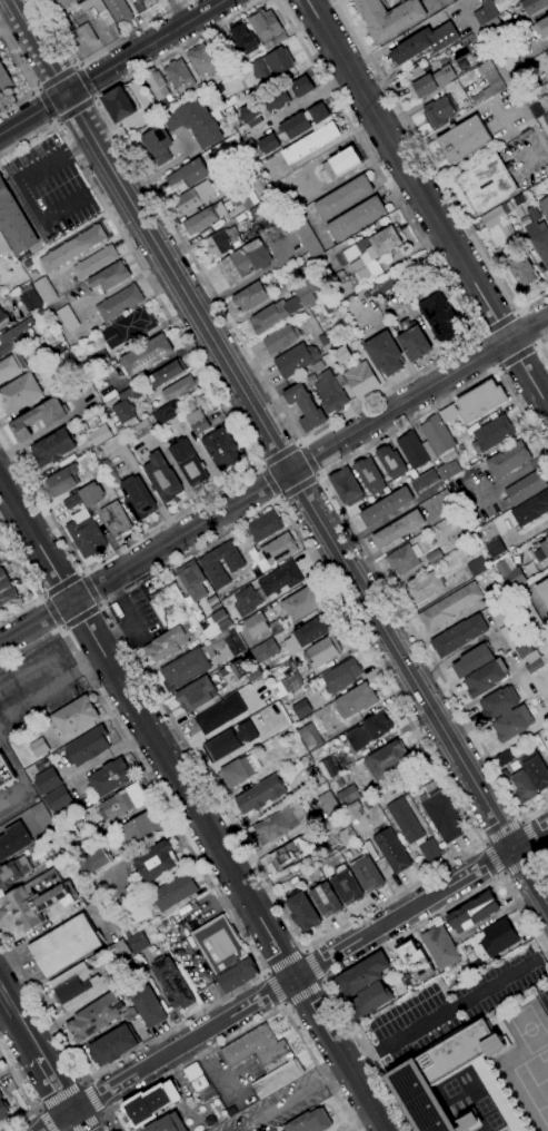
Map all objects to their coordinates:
building: (82, 0)
building: (83, 0)
building: (520, 0)
road: (464, 1)
building: (445, 2)
building: (58, 4)
building: (92, 6)
building: (143, 6)
building: (531, 7)
building: (119, 11)
road: (177, 12)
building: (485, 12)
building: (388, 18)
building: (263, 24)
building: (541, 28)
building: (87, 35)
building: (243, 38)
building: (280, 38)
road: (393, 42)
building: (425, 43)
road: (147, 47)
road: (38, 48)
road: (99, 52)
building: (546, 53)
building: (507, 57)
building: (201, 60)
road: (74, 65)
building: (272, 65)
building: (416, 73)
road: (28, 75)
building: (179, 75)
road: (505, 77)
road: (56, 79)
building: (4, 80)
building: (434, 81)
road: (83, 82)
building: (488, 82)
building: (157, 86)
road: (36, 89)
road: (323, 90)
building: (287, 95)
traffic signals: (67, 96)
road: (94, 98)
building: (177, 102)
road: (47, 104)
building: (122, 107)
road: (74, 110)
building: (439, 111)
building: (535, 111)
road: (32, 114)
building: (319, 114)
building: (250, 115)
road: (461, 116)
building: (546, 118)
road: (54, 120)
road: (270, 120)
building: (196, 122)
building: (293, 128)
building: (464, 139)
building: (311, 144)
building: (158, 145)
building: (269, 145)
road: (78, 147)
road: (534, 154)
flagpole: (356, 156)
building: (339, 164)
road: (169, 168)
road: (435, 169)
building: (189, 174)
building: (250, 175)
building: (469, 184)
building: (259, 188)
building: (247, 196)
building: (197, 197)
building: (343, 197)
road: (29, 201)
road: (427, 203)
building: (545, 206)
building: (507, 208)
building: (262, 215)
building: (206, 217)
building: (494, 218)
building: (356, 219)
building: (14, 224)
building: (509, 234)
building: (306, 235)
building: (221, 243)
building: (540, 243)
building: (3, 245)
building: (72, 248)
building: (365, 258)
building: (96, 262)
building: (245, 263)
building: (521, 271)
building: (309, 276)
building: (109, 277)
building: (439, 285)
building: (385, 287)
building: (44, 289)
building: (252, 296)
building: (29, 298)
building: (119, 303)
building: (330, 304)
road: (516, 313)
building: (2, 315)
building: (275, 315)
building: (68, 318)
building: (440, 318)
road: (496, 325)
flagpole: (171, 327)
building: (128, 328)
road: (475, 336)
building: (14, 337)
building: (281, 338)
building: (414, 341)
road: (535, 345)
road: (538, 348)
building: (385, 354)
road: (515, 354)
building: (146, 355)
building: (342, 355)
building: (41, 357)
building: (100, 358)
building: (296, 360)
building: (10, 366)
building: (317, 366)
road: (496, 366)
building: (167, 373)
building: (360, 378)
building: (179, 389)
building: (329, 391)
building: (19, 393)
building: (480, 401)
building: (124, 406)
building: (305, 407)
building: (166, 413)
road: (521, 413)
building: (448, 414)
building: (39, 419)
building: (198, 422)
road: (407, 422)
road: (232, 423)
building: (141, 430)
building: (487, 433)
building: (99, 435)
building: (436, 437)
road: (301, 441)
road: (298, 444)
building: (53, 448)
building: (221, 449)
building: (412, 450)
road: (279, 455)
building: (508, 460)
road: (306, 461)
building: (391, 462)
building: (189, 463)
road: (259, 466)
building: (107, 470)
building: (448, 470)
road: (289, 471)
road: (317, 475)
building: (369, 475)
building: (162, 479)
road: (273, 481)
building: (425, 481)
road: (269, 482)
building: (59, 483)
building: (346, 486)
road: (297, 488)
building: (524, 489)
building: (86, 496)
building: (137, 499)
road: (277, 499)
building: (444, 499)
building: (387, 505)
building: (531, 510)
building: (116, 520)
building: (263, 525)
building: (398, 529)
building: (87, 538)
building: (243, 545)
building: (495, 548)
building: (272, 551)
building: (539, 551)
building: (432, 557)
building: (403, 559)
building: (477, 567)
building: (212, 570)
road: (81, 572)
building: (509, 573)
building: (280, 580)
road: (30, 583)
road: (61, 584)
building: (192, 587)
building: (424, 587)
building: (6, 589)
road: (88, 589)
building: (498, 591)
building: (544, 591)
road: (41, 597)
building: (247, 601)
building: (213, 603)
building: (301, 603)
road: (99, 604)
building: (170, 607)
building: (449, 607)
road: (52, 611)
building: (528, 612)
road: (78, 616)
building: (193, 622)
building: (217, 624)
building: (256, 624)
building: (275, 627)
road: (60, 628)
building: (306, 635)
building: (512, 635)
building: (459, 636)
road: (47, 637)
building: (232, 640)
building: (167, 643)
building: (268, 648)
building: (322, 651)
building: (530, 656)
road: (429, 658)
road: (92, 660)
building: (472, 661)
building: (187, 667)
road: (34, 670)
building: (253, 675)
building: (341, 676)
building: (486, 678)
road: (41, 692)
building: (197, 694)
building: (356, 701)
building: (498, 702)
building: (301, 709)
building: (220, 714)
building: (74, 716)
building: (512, 724)
building: (369, 731)
building: (309, 735)
building: (231, 741)
building: (546, 742)
building: (88, 746)
building: (39, 747)
building: (547, 750)
building: (502, 759)
building: (387, 760)
building: (321, 769)
building: (535, 769)
building: (238, 771)
building: (4, 773)
road: (21, 776)
building: (109, 777)
building: (47, 781)
building: (522, 787)
building: (260, 794)
building: (347, 796)
building: (89, 798)
building: (58, 799)
building: (123, 803)
building: (328, 804)
road: (191, 805)
building: (352, 812)
building: (441, 815)
building: (42, 817)
building: (405, 820)
road: (521, 820)
building: (277, 824)
building: (136, 829)
road: (501, 833)
building: (346, 836)
road: (528, 836)
building: (13, 840)
road: (482, 844)
building: (429, 849)
building: (391, 850)
road: (539, 850)
building: (292, 853)
road: (542, 853)
road: (497, 856)
building: (97, 858)
road: (492, 858)
road: (519, 860)
building: (156, 862)
building: (13, 872)
building: (367, 874)
road: (500, 875)
road: (529, 877)
building: (346, 887)
building: (175, 892)
road: (229, 896)
building: (37, 899)
building: (326, 901)
parking lot: (208, 907)
building: (302, 911)
building: (474, 912)
road: (402, 913)
road: (39, 933)
building: (498, 937)
building: (138, 943)
building: (66, 945)
road: (4, 946)
building: (440, 946)
road: (305, 947)
road: (303, 950)
road: (541, 950)
building: (120, 951)
building: (225, 954)
road: (369, 954)
road: (285, 962)
building: (414, 964)
road: (311, 966)
building: (476, 966)
road: (262, 973)
road: (265, 974)
building: (362, 975)
road: (292, 976)
road: (322, 982)
building: (172, 984)
building: (78, 986)
road: (275, 989)
road: (301, 992)
building: (369, 1001)
park: (544, 1002)
road: (281, 1004)
parking lot: (450, 1006)
building: (148, 1007)
road: (447, 1009)
building: (129, 1014)
building: (94, 1017)
road: (19, 1024)
park: (528, 1029)
road: (181, 1044)
building: (113, 1045)
building: (257, 1050)
road: (191, 1060)
road: (307, 1064)
road: (318, 1068)
building: (421, 1073)
building: (277, 1079)
building: (198, 1082)
park: (536, 1082)
road: (53, 1083)
road: (83, 1083)
road: (290, 1096)
road: (59, 1098)
road: (24, 1099)
road: (90, 1099)
road: (84, 1101)
building: (149, 1103)
building: (2, 1107)
building: (230, 1110)
road: (34, 1111)
road: (102, 1115)
road: (43, 1120)
road: (78, 1120)
building: (209, 1120)
road: (356, 1120)
road: (86, 1122)
building: (310, 1122)
road: (110, 1123)
building: (166, 1124)

